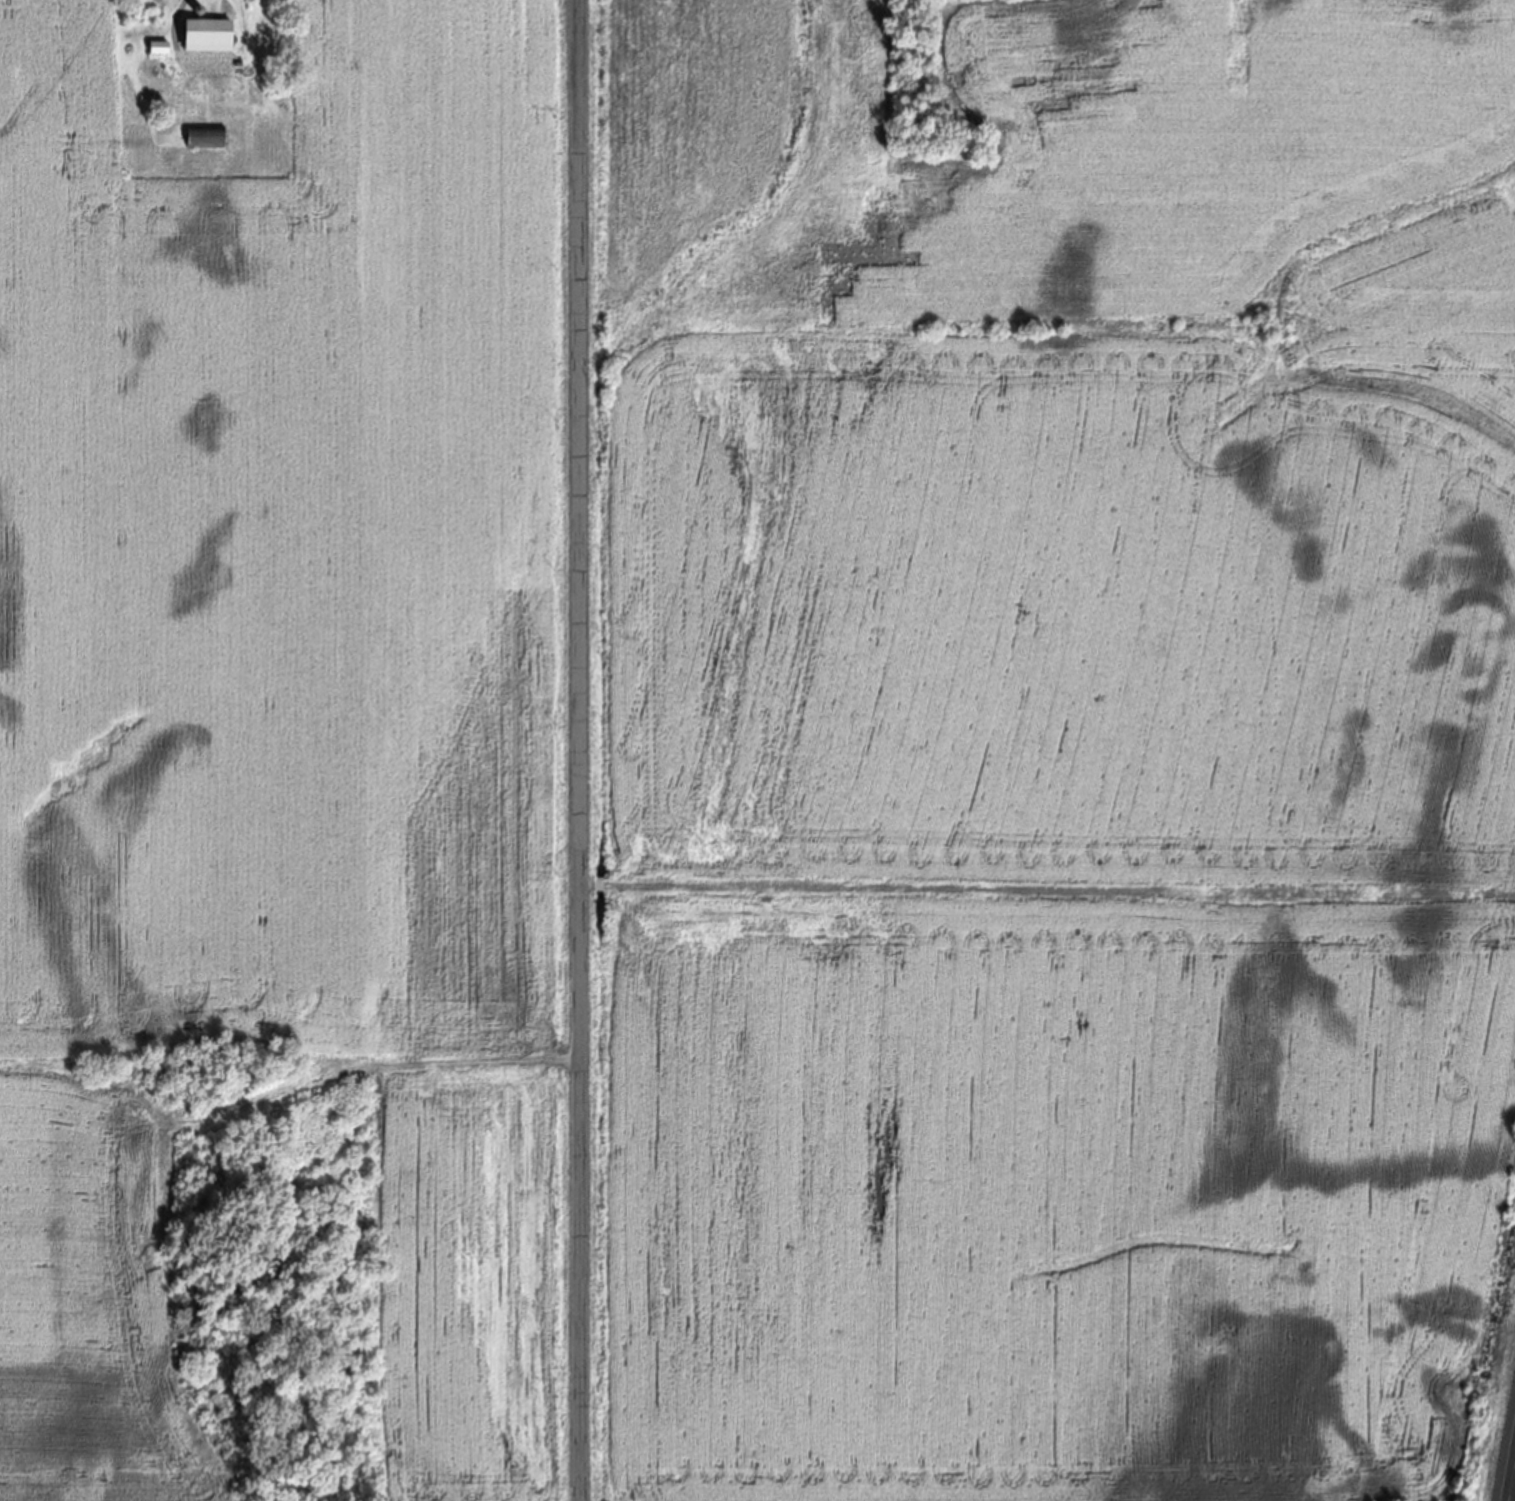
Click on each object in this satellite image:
road: (178, 18)
building: (205, 41)
building: (204, 141)
road: (580, 750)
road: (1514, 1496)

